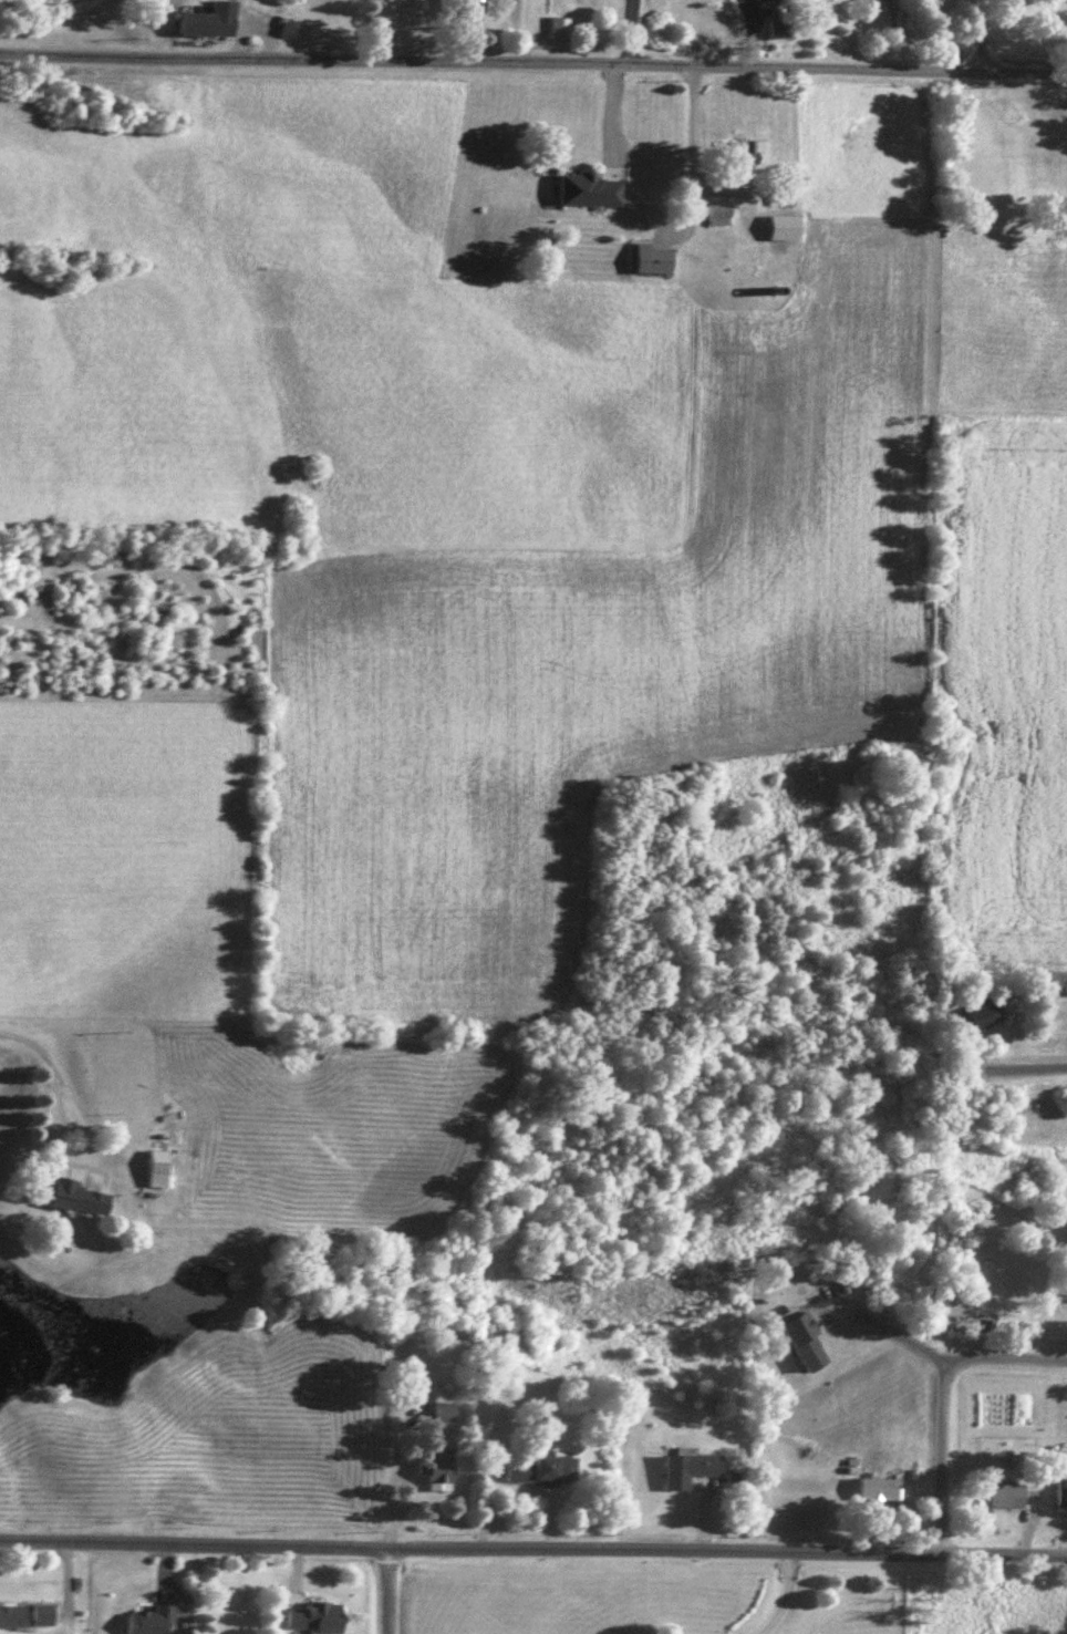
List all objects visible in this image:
building: (462, 7)
building: (205, 24)
building: (559, 29)
road: (980, 35)
road: (533, 64)
building: (591, 189)
building: (718, 214)
building: (655, 258)
building: (755, 261)
building: (984, 1013)
road: (1023, 1064)
road: (55, 1074)
building: (158, 1168)
building: (72, 1196)
building: (955, 1302)
road: (894, 1325)
building: (805, 1341)
road: (1004, 1348)
building: (444, 1411)
road: (936, 1450)
building: (441, 1468)
building: (687, 1468)
building: (541, 1469)
building: (877, 1488)
building: (1015, 1495)
road: (532, 1544)
road: (385, 1589)
building: (41, 1614)
building: (12, 1616)
building: (313, 1616)
building: (148, 1621)

